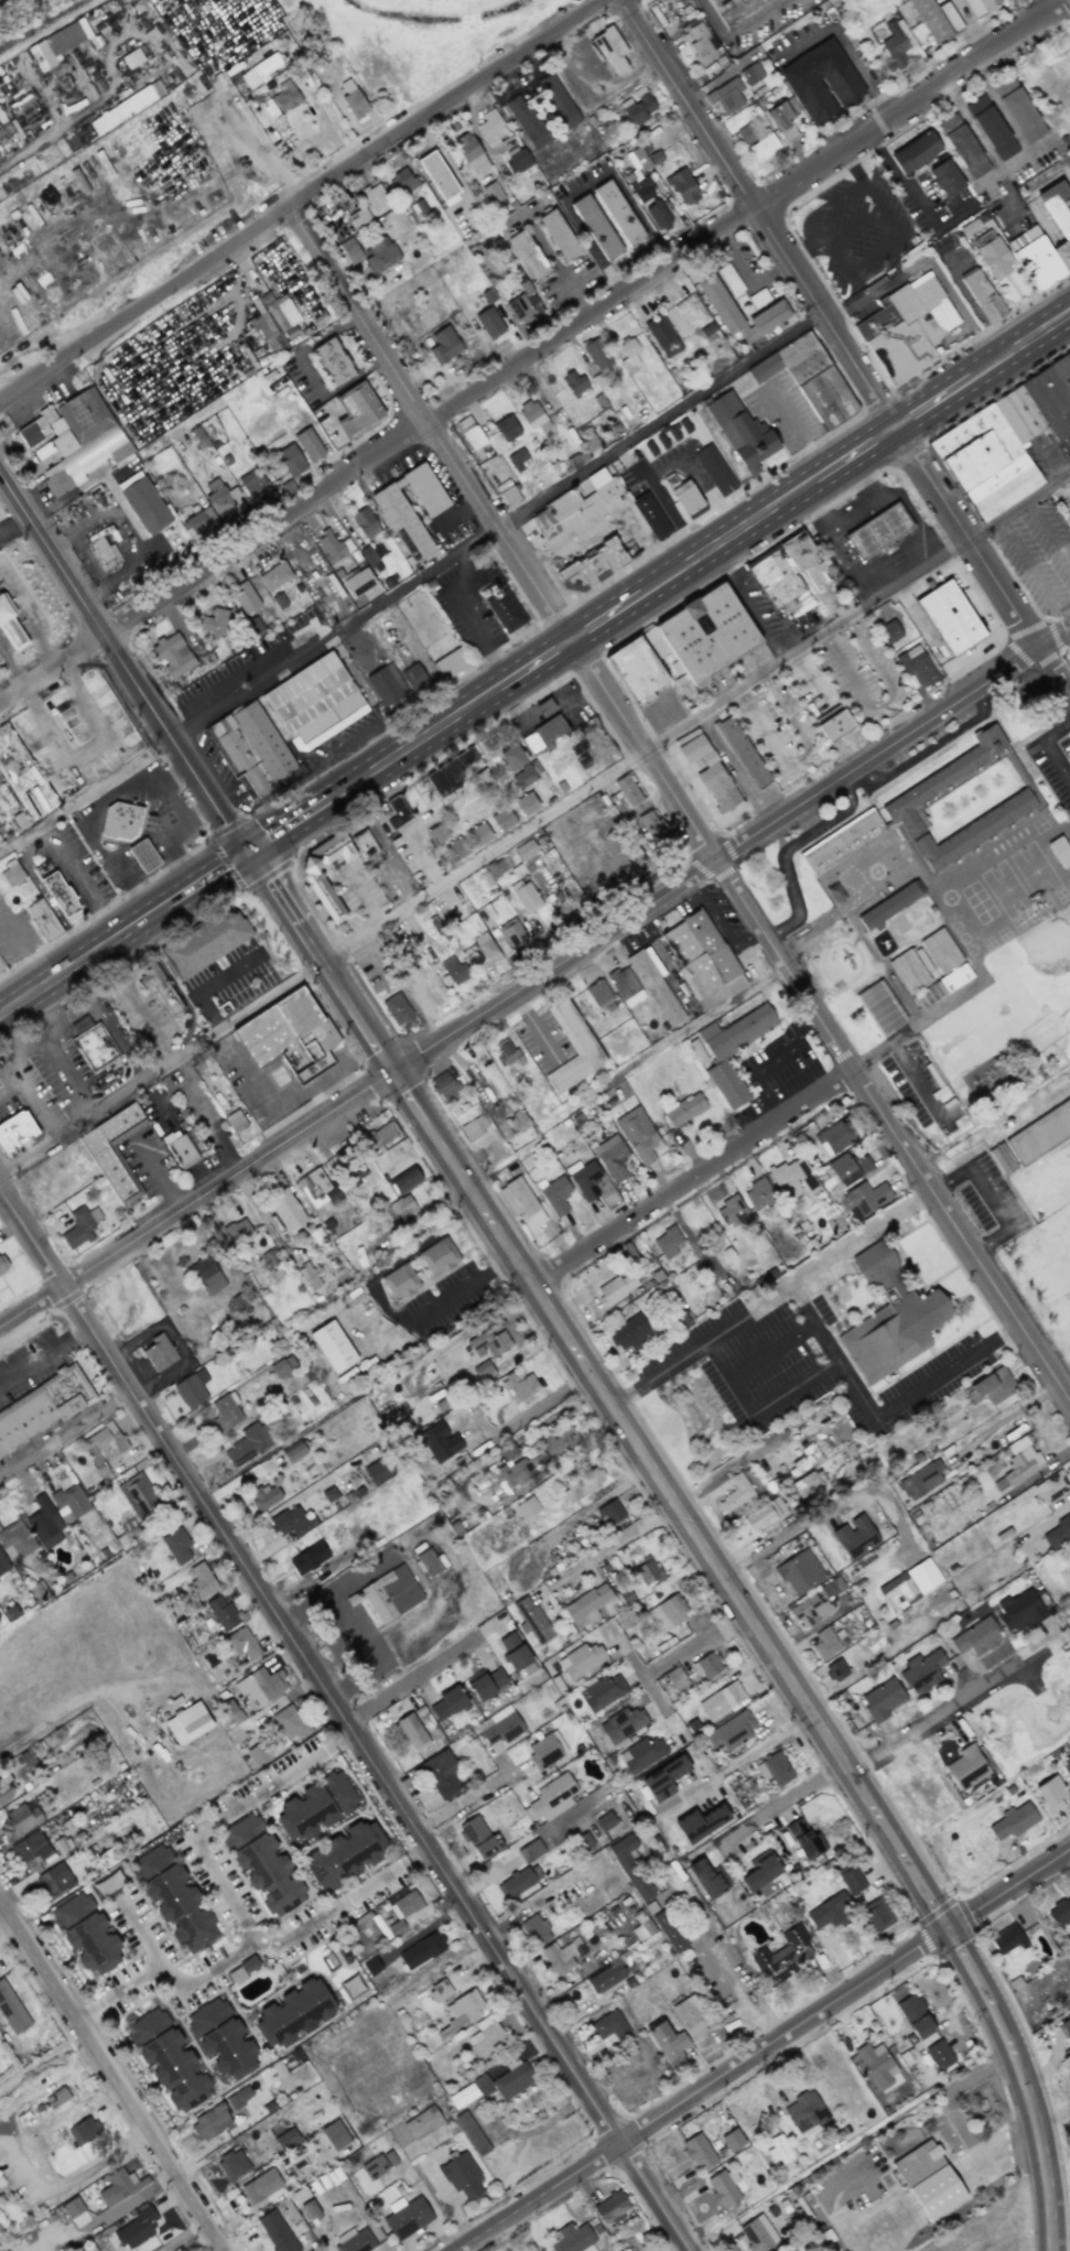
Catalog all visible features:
building: (981, 6)
building: (733, 9)
building: (934, 19)
road: (744, 34)
road: (839, 37)
building: (895, 43)
building: (57, 44)
building: (701, 47)
building: (610, 48)
building: (131, 58)
building: (257, 73)
building: (750, 73)
building: (820, 82)
building: (285, 96)
building: (725, 96)
building: (353, 98)
building: (558, 101)
road: (1003, 105)
building: (637, 106)
building: (126, 107)
building: (1017, 108)
building: (782, 118)
building: (526, 121)
building: (490, 126)
building: (991, 127)
building: (2, 133)
road: (37, 141)
building: (757, 141)
building: (962, 145)
road: (990, 148)
building: (915, 152)
building: (469, 153)
building: (0, 161)
building: (518, 161)
road: (990, 175)
building: (439, 177)
road: (903, 177)
building: (945, 177)
building: (401, 182)
building: (639, 185)
building: (682, 187)
building: (494, 195)
road: (1013, 195)
building: (375, 196)
road: (304, 199)
road: (814, 206)
building: (419, 208)
building: (618, 212)
building: (658, 214)
building: (358, 217)
building: (1058, 217)
building: (595, 226)
building: (968, 228)
building: (558, 234)
road: (793, 240)
road: (869, 250)
building: (370, 253)
building: (992, 253)
building: (527, 255)
building: (1035, 258)
building: (982, 295)
building: (522, 304)
building: (722, 306)
building: (273, 322)
building: (489, 323)
building: (907, 327)
building: (662, 335)
building: (443, 345)
road: (533, 349)
road: (1020, 349)
road: (843, 350)
building: (628, 354)
building: (332, 361)
building: (599, 362)
building: (573, 382)
building: (834, 396)
road: (933, 405)
building: (817, 407)
building: (358, 410)
building: (532, 415)
building: (506, 428)
building: (471, 433)
building: (737, 436)
building: (1004, 439)
building: (73, 440)
building: (591, 443)
building: (307, 444)
road: (1051, 455)
road: (851, 458)
building: (290, 459)
building: (518, 459)
building: (714, 469)
building: (252, 485)
building: (508, 493)
building: (689, 500)
building: (221, 501)
building: (574, 504)
building: (1069, 505)
building: (145, 506)
building: (396, 511)
road: (914, 512)
road: (11, 515)
building: (647, 520)
building: (198, 522)
building: (365, 522)
road: (496, 526)
road: (1050, 531)
building: (875, 535)
gas station: (875, 535)
road: (721, 542)
building: (328, 545)
road: (840, 545)
building: (175, 546)
building: (104, 550)
road: (1028, 569)
building: (587, 571)
building: (788, 573)
building: (274, 576)
building: (357, 583)
building: (245, 597)
road: (754, 600)
building: (499, 610)
road: (603, 619)
building: (213, 621)
road: (474, 623)
building: (947, 623)
building: (9, 627)
building: (889, 631)
building: (706, 632)
building: (172, 653)
road: (121, 660)
building: (450, 663)
road: (529, 664)
building: (917, 665)
building: (414, 678)
building: (381, 689)
road: (879, 695)
building: (312, 699)
building: (544, 707)
building: (833, 725)
building: (543, 733)
building: (324, 736)
road: (406, 744)
road: (1047, 746)
building: (742, 751)
road: (647, 753)
building: (512, 757)
building: (707, 769)
building: (450, 771)
building: (523, 777)
building: (479, 780)
building: (252, 784)
building: (937, 784)
building: (627, 789)
road: (87, 798)
building: (526, 803)
building: (397, 811)
building: (502, 819)
road: (167, 821)
building: (122, 822)
road: (283, 822)
road: (534, 824)
building: (650, 825)
building: (975, 829)
building: (436, 833)
building: (478, 834)
building: (842, 842)
building: (364, 844)
traffic signals: (245, 847)
road: (728, 848)
building: (455, 849)
building: (1060, 851)
building: (144, 855)
gas station: (144, 855)
road: (224, 861)
building: (533, 865)
building: (497, 867)
building: (517, 870)
building: (11, 873)
road: (84, 878)
building: (322, 891)
building: (61, 894)
building: (526, 896)
building: (888, 906)
building: (42, 919)
building: (511, 934)
road: (25, 941)
building: (205, 942)
road: (305, 943)
road: (101, 944)
building: (486, 948)
building: (940, 951)
building: (701, 960)
building: (454, 970)
building: (908, 971)
building: (625, 985)
building: (941, 986)
building: (655, 987)
building: (160, 988)
building: (597, 994)
building: (880, 1006)
building: (396, 1009)
road: (533, 1024)
road: (917, 1028)
building: (285, 1032)
road: (675, 1038)
road: (29, 1042)
building: (572, 1047)
building: (96, 1049)
building: (506, 1051)
road: (379, 1056)
building: (720, 1059)
road: (240, 1060)
road: (767, 1060)
road: (187, 1070)
traffic signals: (390, 1071)
road: (13, 1084)
building: (444, 1085)
road: (917, 1085)
building: (683, 1108)
building: (235, 1121)
building: (511, 1124)
building: (474, 1127)
building: (15, 1130)
building: (1040, 1133)
building: (637, 1135)
building: (379, 1136)
building: (833, 1137)
building: (114, 1149)
building: (180, 1149)
building: (610, 1156)
building: (1002, 1159)
building: (349, 1165)
building: (847, 1168)
road: (156, 1171)
building: (584, 1178)
building: (792, 1178)
road: (691, 1179)
building: (406, 1181)
building: (317, 1189)
building: (758, 1193)
building: (555, 1195)
road: (988, 1197)
building: (863, 1200)
road: (196, 1201)
building: (520, 1201)
building: (400, 1208)
building: (285, 1210)
building: (731, 1212)
building: (79, 1226)
building: (237, 1230)
building: (667, 1242)
park: (1058, 1243)
building: (439, 1256)
building: (2, 1264)
road: (817, 1266)
building: (206, 1275)
building: (307, 1277)
building: (399, 1281)
building: (615, 1289)
road: (378, 1298)
building: (889, 1318)
building: (628, 1332)
building: (488, 1342)
building: (332, 1345)
parking lot: (760, 1351)
building: (159, 1352)
road: (44, 1355)
building: (282, 1366)
building: (483, 1371)
road: (810, 1384)
building: (518, 1385)
building: (991, 1386)
building: (191, 1388)
road: (527, 1406)
building: (40, 1409)
building: (224, 1414)
road: (65, 1432)
building: (439, 1441)
building: (248, 1443)
building: (102, 1448)
building: (507, 1452)
building: (294, 1453)
building: (531, 1461)
building: (1020, 1461)
building: (377, 1470)
building: (920, 1480)
building: (808, 1483)
building: (582, 1484)
building: (1051, 1486)
building: (138, 1493)
building: (328, 1493)
building: (735, 1493)
building: (264, 1495)
building: (69, 1503)
road: (824, 1506)
building: (527, 1507)
building: (609, 1513)
building: (764, 1515)
building: (292, 1522)
building: (44, 1523)
building: (1058, 1530)
building: (128, 1536)
road: (690, 1536)
building: (854, 1536)
building: (15, 1540)
road: (604, 1543)
building: (176, 1545)
building: (309, 1558)
building: (428, 1562)
building: (3, 1566)
building: (647, 1571)
building: (799, 1572)
building: (922, 1574)
building: (202, 1580)
building: (832, 1587)
building: (37, 1590)
building: (897, 1590)
building: (623, 1591)
building: (389, 1593)
building: (586, 1602)
building: (810, 1610)
building: (1018, 1610)
building: (668, 1612)
building: (221, 1613)
building: (626, 1619)
building: (531, 1620)
building: (975, 1637)
building: (241, 1643)
road: (374, 1644)
building: (824, 1644)
road: (680, 1645)
building: (515, 1653)
building: (581, 1659)
building: (705, 1665)
building: (836, 1669)
building: (921, 1671)
building: (675, 1678)
road: (412, 1681)
building: (486, 1682)
building: (261, 1685)
building: (602, 1691)
building: (882, 1699)
building: (721, 1700)
building: (447, 1703)
building: (231, 1710)
road: (344, 1719)
road: (933, 1721)
building: (289, 1722)
building: (187, 1723)
building: (622, 1724)
building: (499, 1725)
building: (731, 1731)
building: (411, 1732)
building: (543, 1751)
building: (257, 1753)
building: (641, 1753)
road: (749, 1754)
building: (26, 1758)
building: (1066, 1764)
building: (966, 1767)
building: (774, 1768)
building: (441, 1773)
building: (663, 1778)
building: (6, 1788)
building: (1050, 1793)
building: (551, 1797)
road: (465, 1800)
road: (778, 1804)
building: (315, 1806)
building: (19, 1820)
building: (605, 1820)
building: (1013, 1821)
building: (700, 1822)
building: (477, 1837)
building: (803, 1839)
building: (530, 1850)
building: (32, 1851)
road: (202, 1854)
building: (344, 1854)
building: (262, 1864)
building: (631, 1866)
building: (763, 1874)
building: (706, 1879)
building: (851, 1880)
building: (53, 1882)
building: (516, 1882)
road: (339, 1896)
building: (173, 1898)
building: (406, 1904)
building: (830, 1912)
building: (1059, 1912)
building: (877, 1914)
traffic signals: (944, 1926)
building: (396, 1927)
building: (646, 1927)
road: (6, 1928)
building: (536, 1929)
building: (669, 1930)
building: (85, 1933)
building: (1005, 1939)
road: (711, 1940)
building: (421, 1950)
building: (562, 1955)
building: (781, 1956)
road: (144, 1966)
building: (371, 1966)
building: (242, 1969)
building: (605, 1977)
building: (439, 1991)
building: (11, 2010)
building: (293, 2013)
building: (461, 2013)
building: (915, 2016)
building: (689, 2017)
building: (608, 2027)
building: (1063, 2028)
building: (485, 2036)
building: (221, 2038)
building: (668, 2043)
road: (761, 2047)
building: (939, 2055)
building: (167, 2059)
building: (875, 2064)
road: (110, 2078)
building: (495, 2085)
building: (56, 2097)
building: (239, 2097)
road: (17, 2107)
building: (804, 2110)
road: (956, 2119)
building: (210, 2122)
building: (422, 2122)
road: (1036, 2122)
building: (84, 2130)
building: (472, 2133)
building: (334, 2134)
building: (287, 2139)
building: (732, 2140)
building: (778, 2149)
building: (699, 2152)
building: (231, 2164)
building: (378, 2165)
road: (84, 2174)
building: (462, 2175)
building: (928, 2179)
building: (119, 2186)
building: (260, 2186)
building: (723, 2187)
road: (826, 2200)
road: (129, 2201)
building: (609, 2206)
building: (309, 2209)
building: (75, 2211)
building: (406, 2217)
building: (1, 2227)
building: (137, 2228)
building: (275, 2231)
building: (758, 2234)
road: (181, 2237)
building: (572, 2238)
building: (354, 2240)

